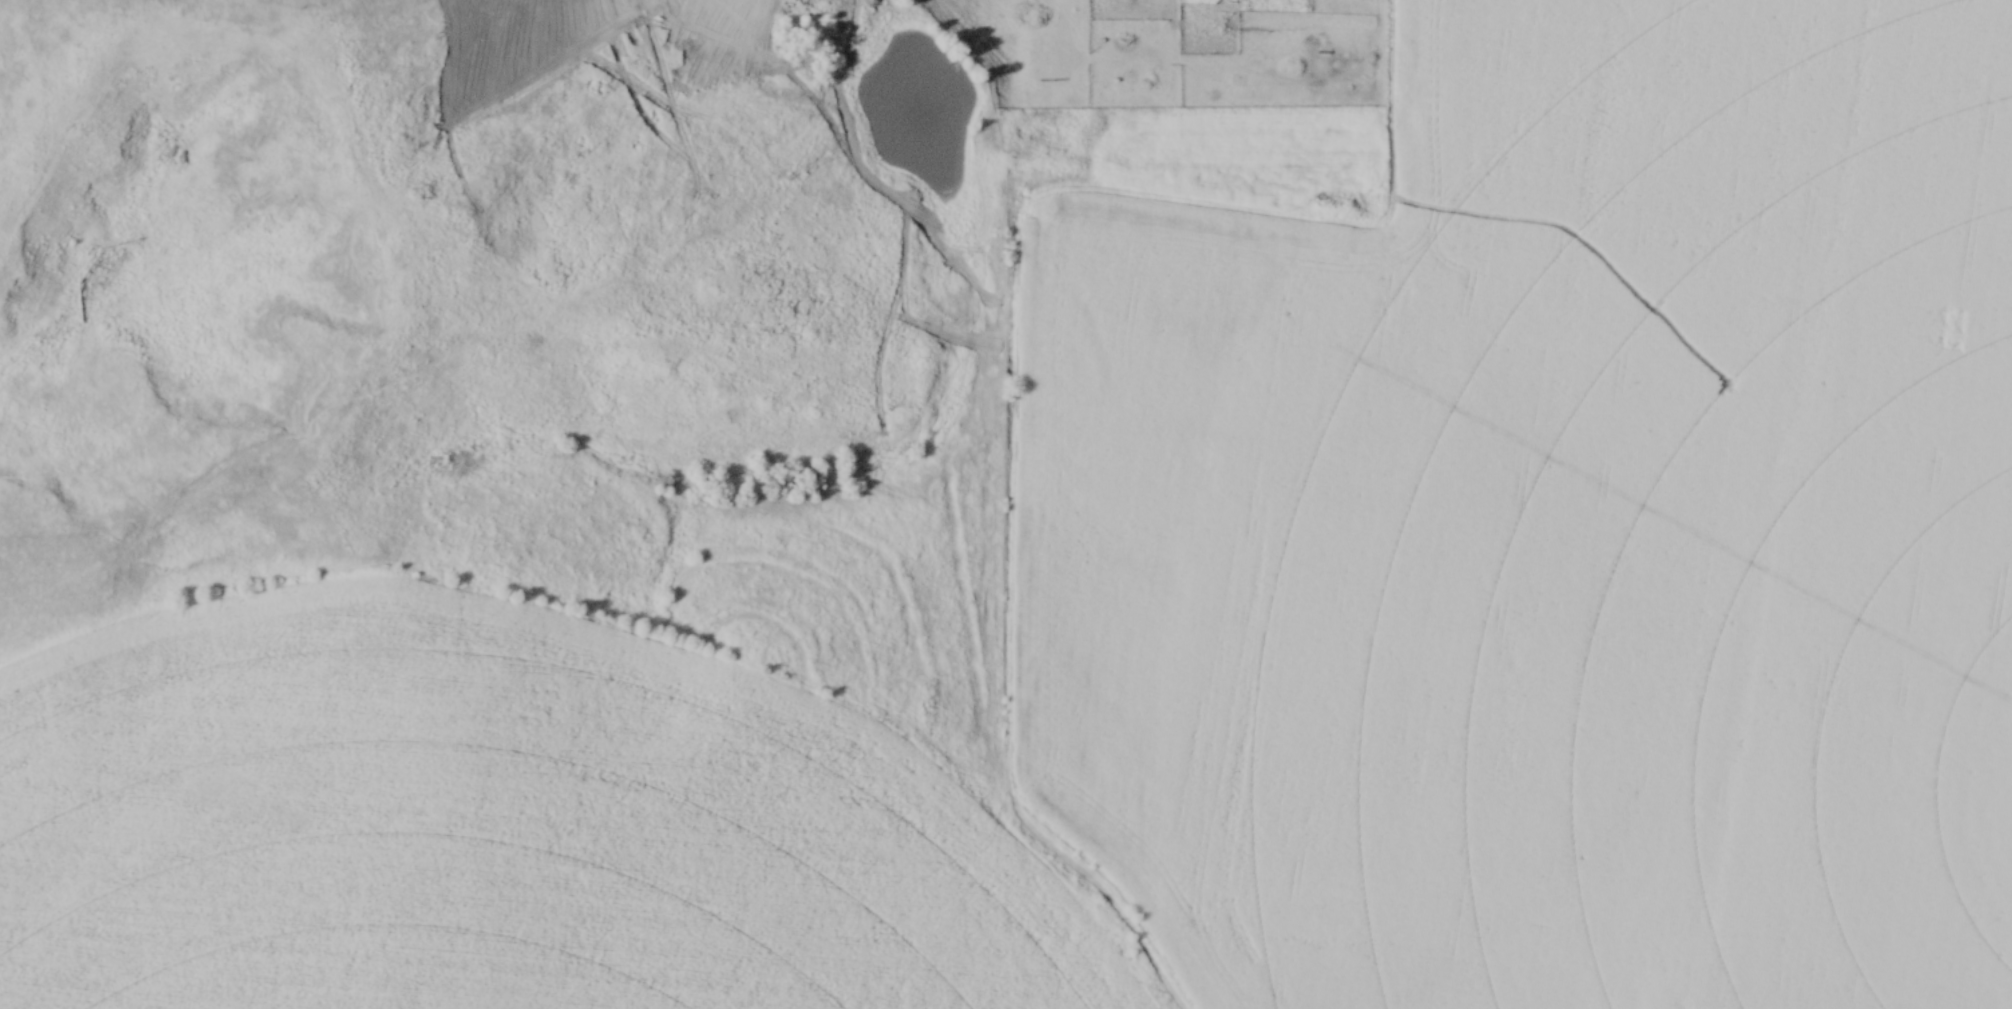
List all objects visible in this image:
building: (1135, 83)

